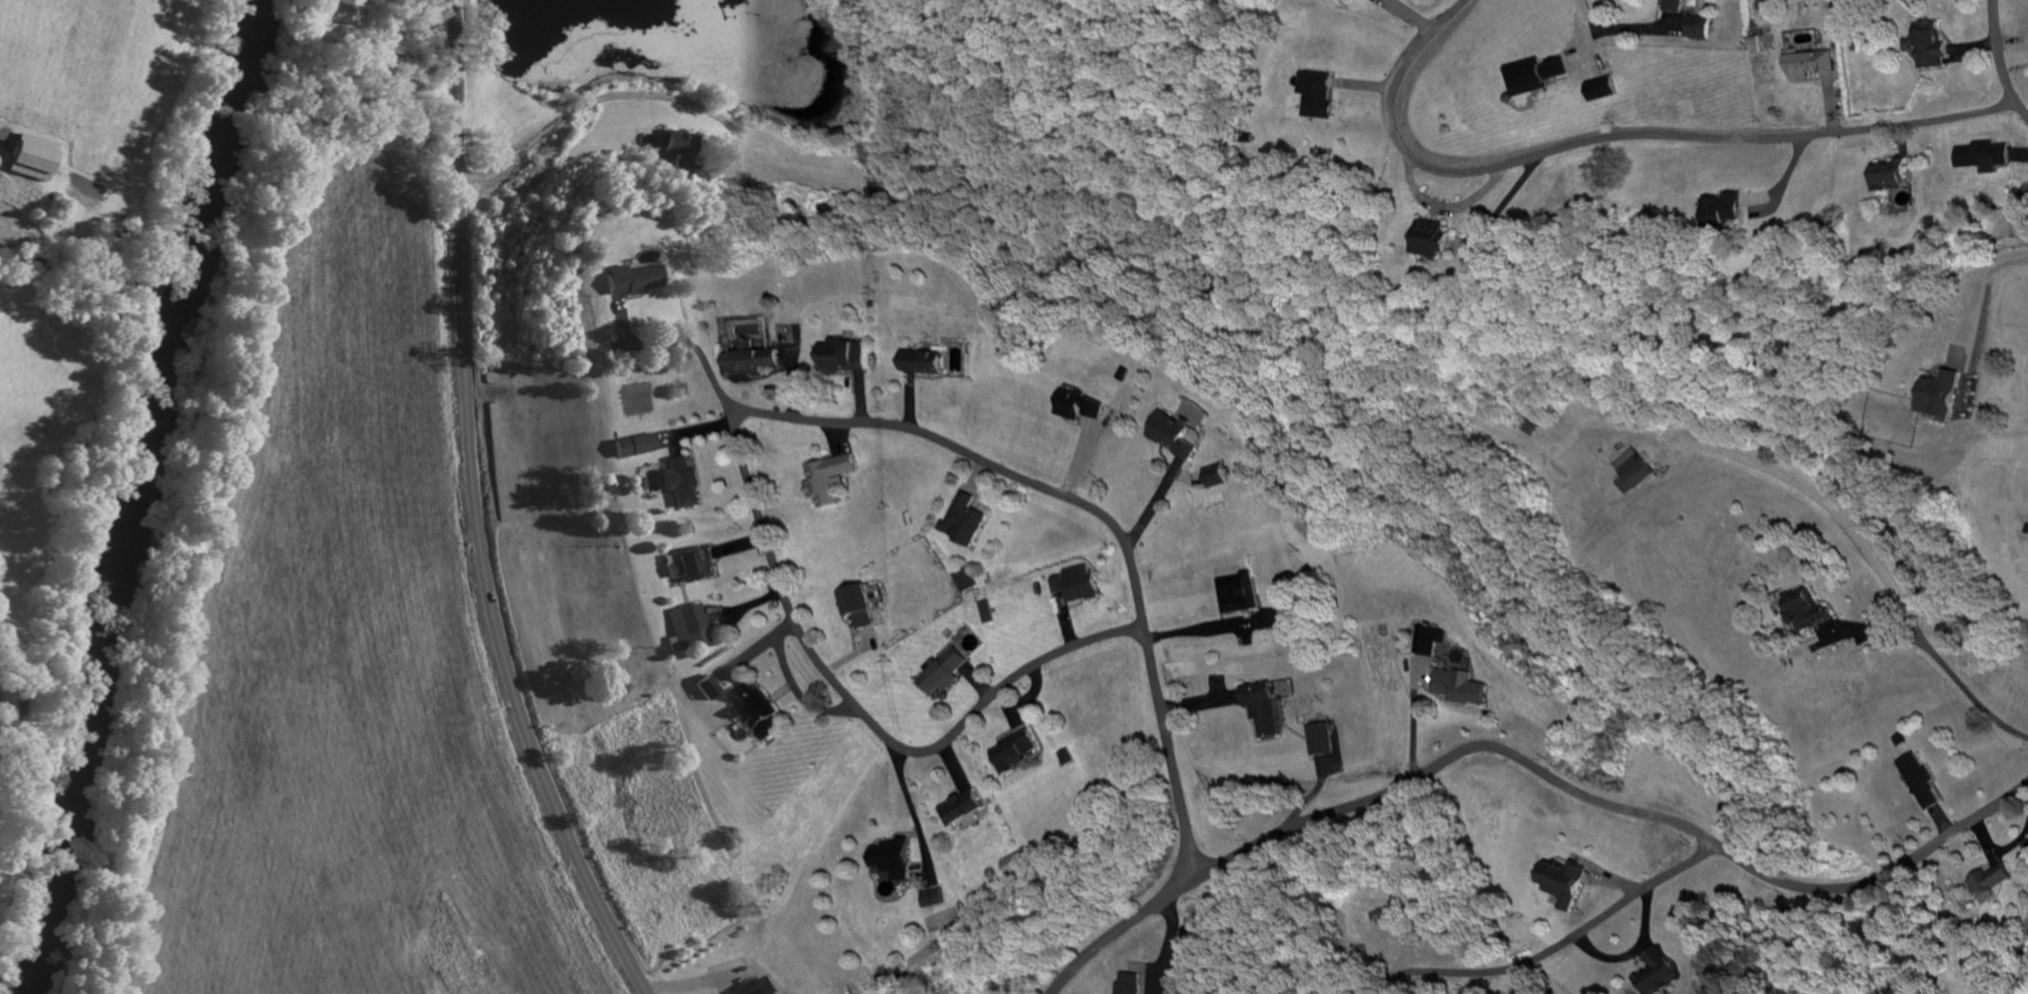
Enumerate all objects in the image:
building: (1669, 6)
building: (344, 12)
road: (1583, 34)
building: (1925, 47)
road: (2001, 61)
building: (1806, 65)
building: (1533, 74)
building: (1595, 90)
building: (1312, 96)
road: (1615, 136)
building: (37, 160)
building: (1883, 182)
building: (1721, 210)
building: (1429, 240)
building: (620, 283)
building: (840, 357)
building: (750, 363)
building: (919, 364)
road: (737, 440)
building: (630, 448)
building: (1632, 476)
building: (827, 479)
building: (679, 484)
river: (118, 493)
road: (478, 512)
building: (960, 523)
building: (687, 567)
building: (1077, 590)
building: (1803, 613)
building: (690, 621)
building: (941, 672)
building: (1458, 688)
building: (746, 707)
building: (1260, 709)
building: (1318, 740)
building: (1013, 752)
road: (1172, 753)
road: (1531, 765)
building: (1920, 783)
building: (961, 804)
building: (888, 859)
building: (1561, 884)
building: (1993, 884)
road: (1555, 948)
building: (1654, 972)
building: (1123, 988)
building: (749, 989)
building: (770, 993)

